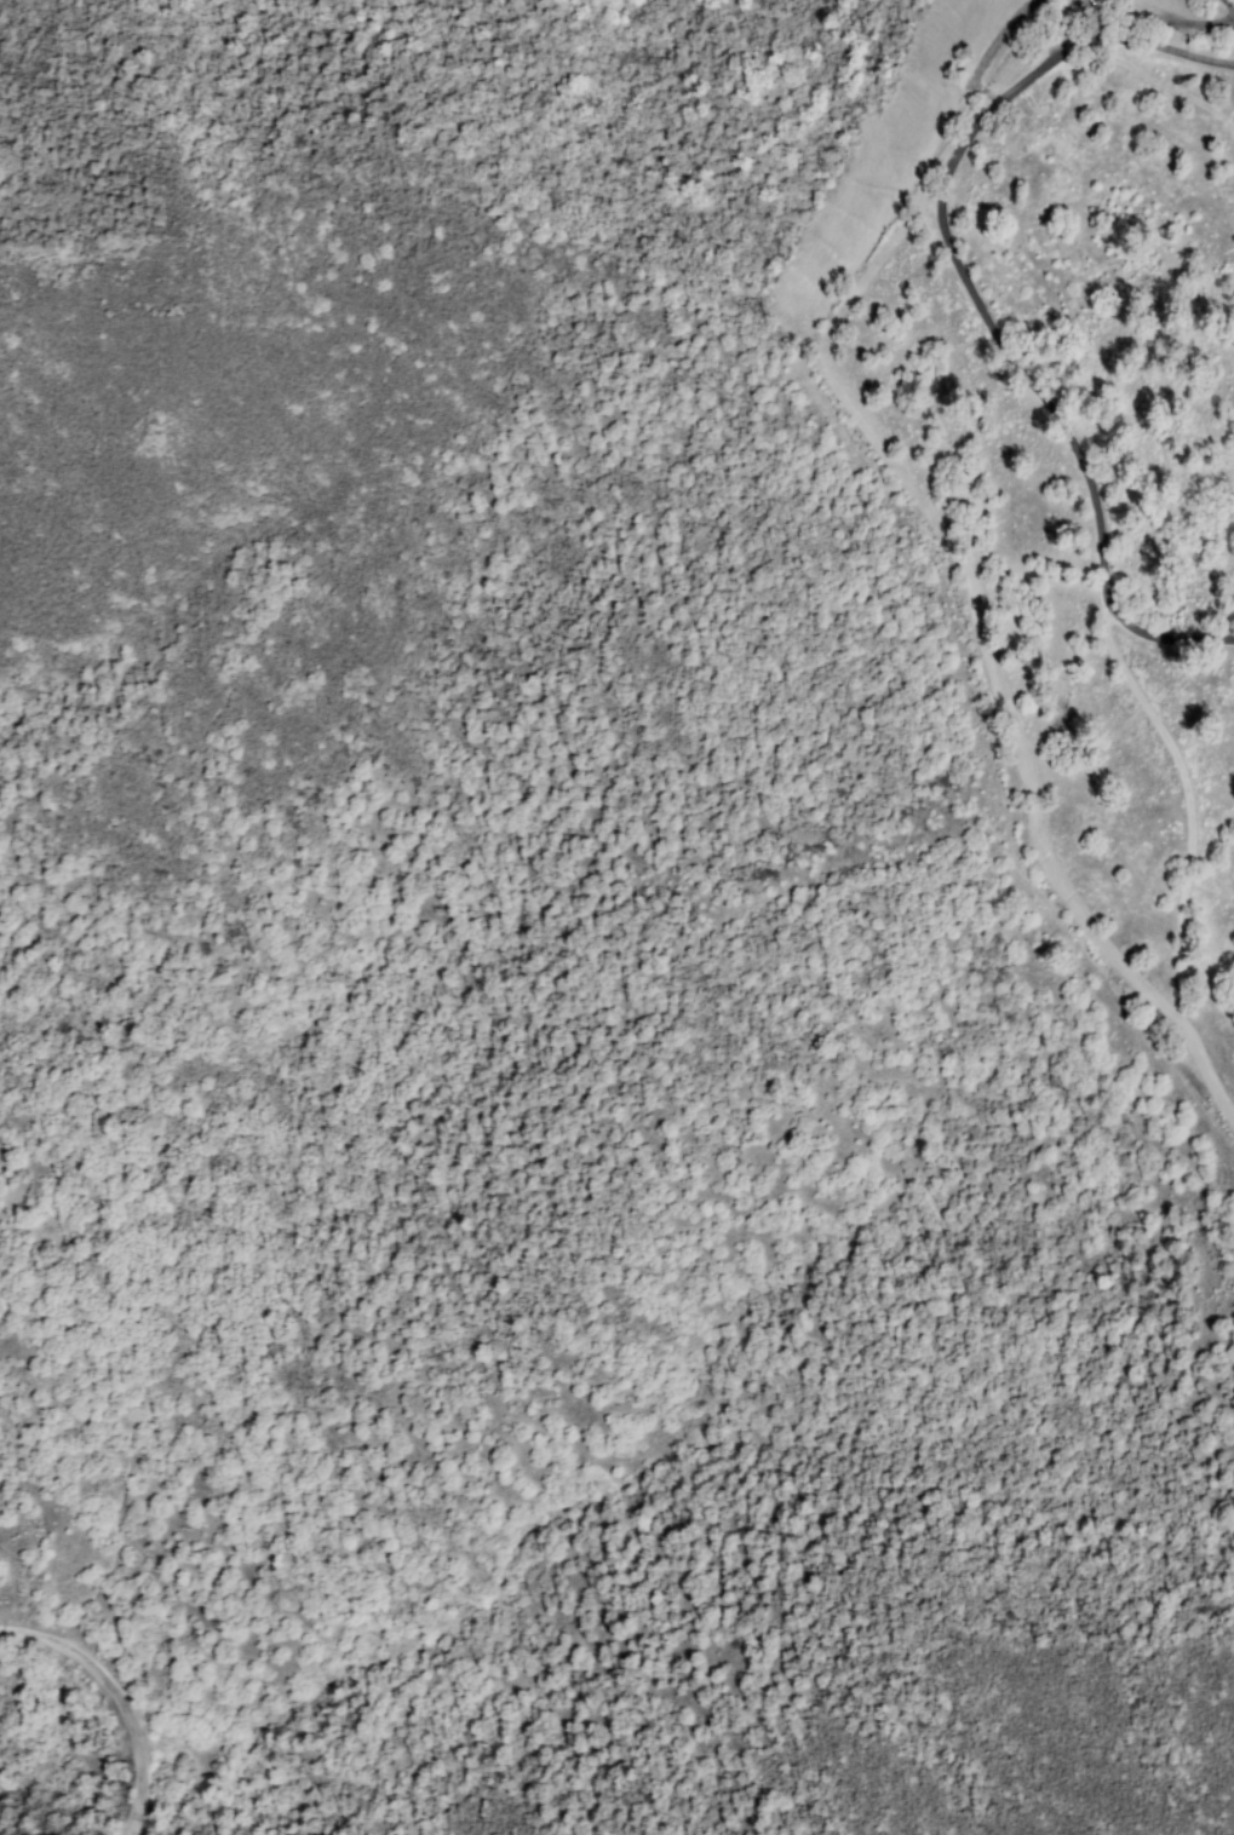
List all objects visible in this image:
road: (954, 241)
road: (1171, 642)
road: (1196, 810)
road: (119, 1698)

